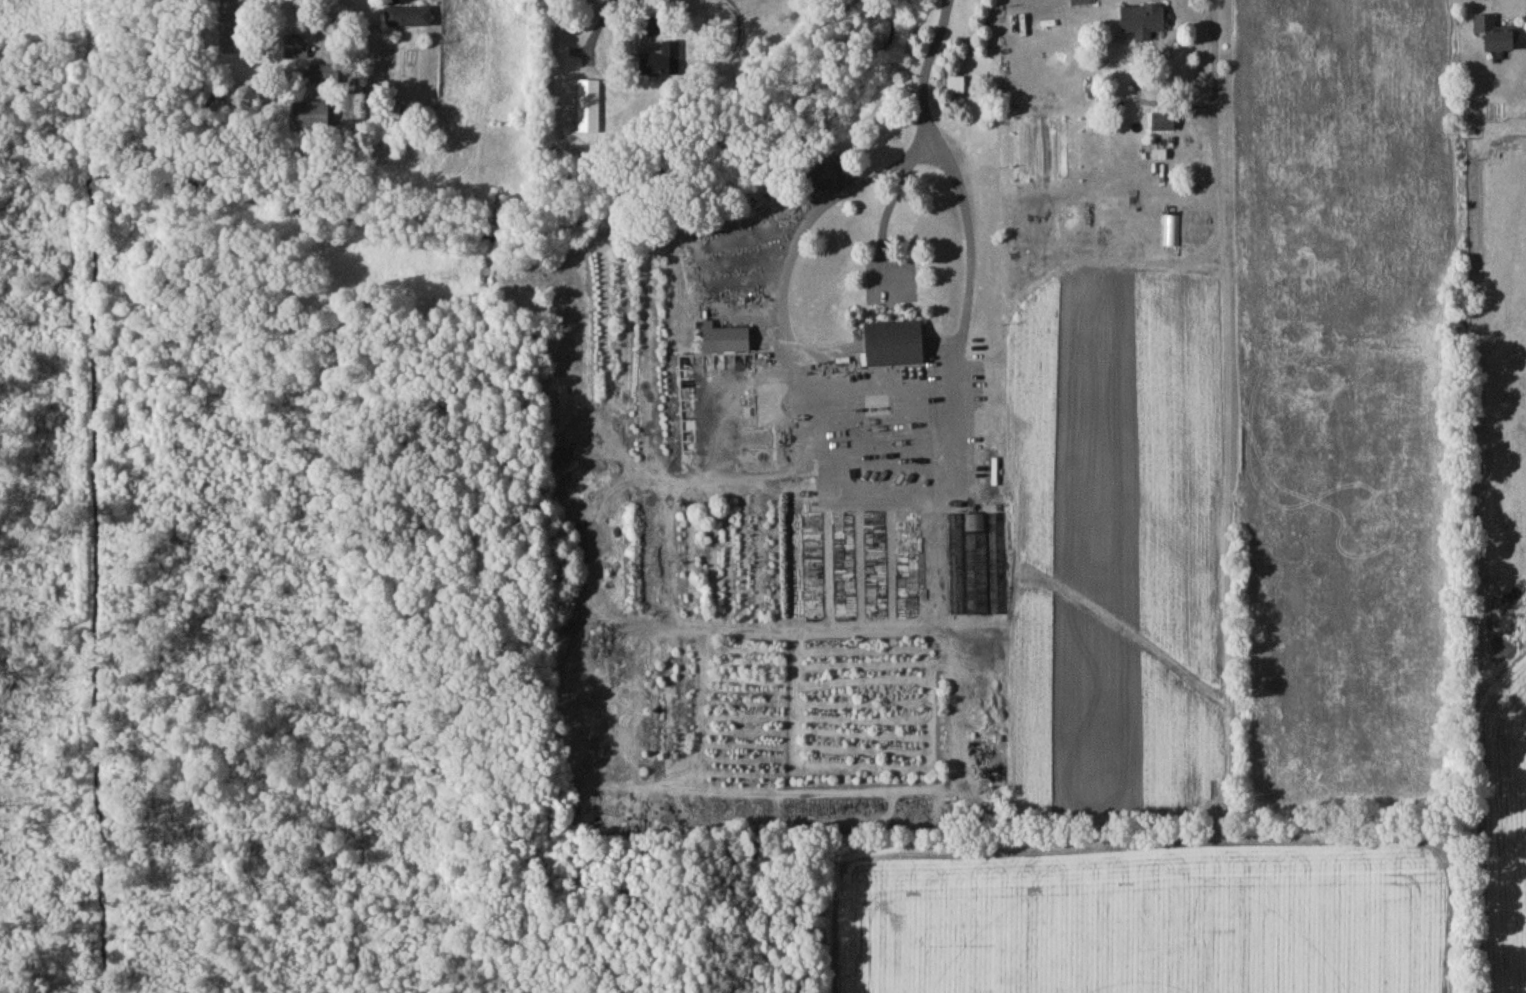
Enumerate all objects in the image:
road: (1486, 5)
road: (644, 19)
building: (409, 20)
building: (1145, 24)
road: (322, 26)
building: (1499, 37)
building: (296, 50)
building: (666, 65)
road: (926, 68)
building: (327, 77)
building: (957, 88)
building: (589, 106)
building: (393, 116)
building: (314, 118)
building: (1165, 124)
road: (1217, 147)
road: (888, 215)
building: (1171, 233)
building: (728, 342)
building: (897, 347)
road: (854, 495)
building: (977, 567)

